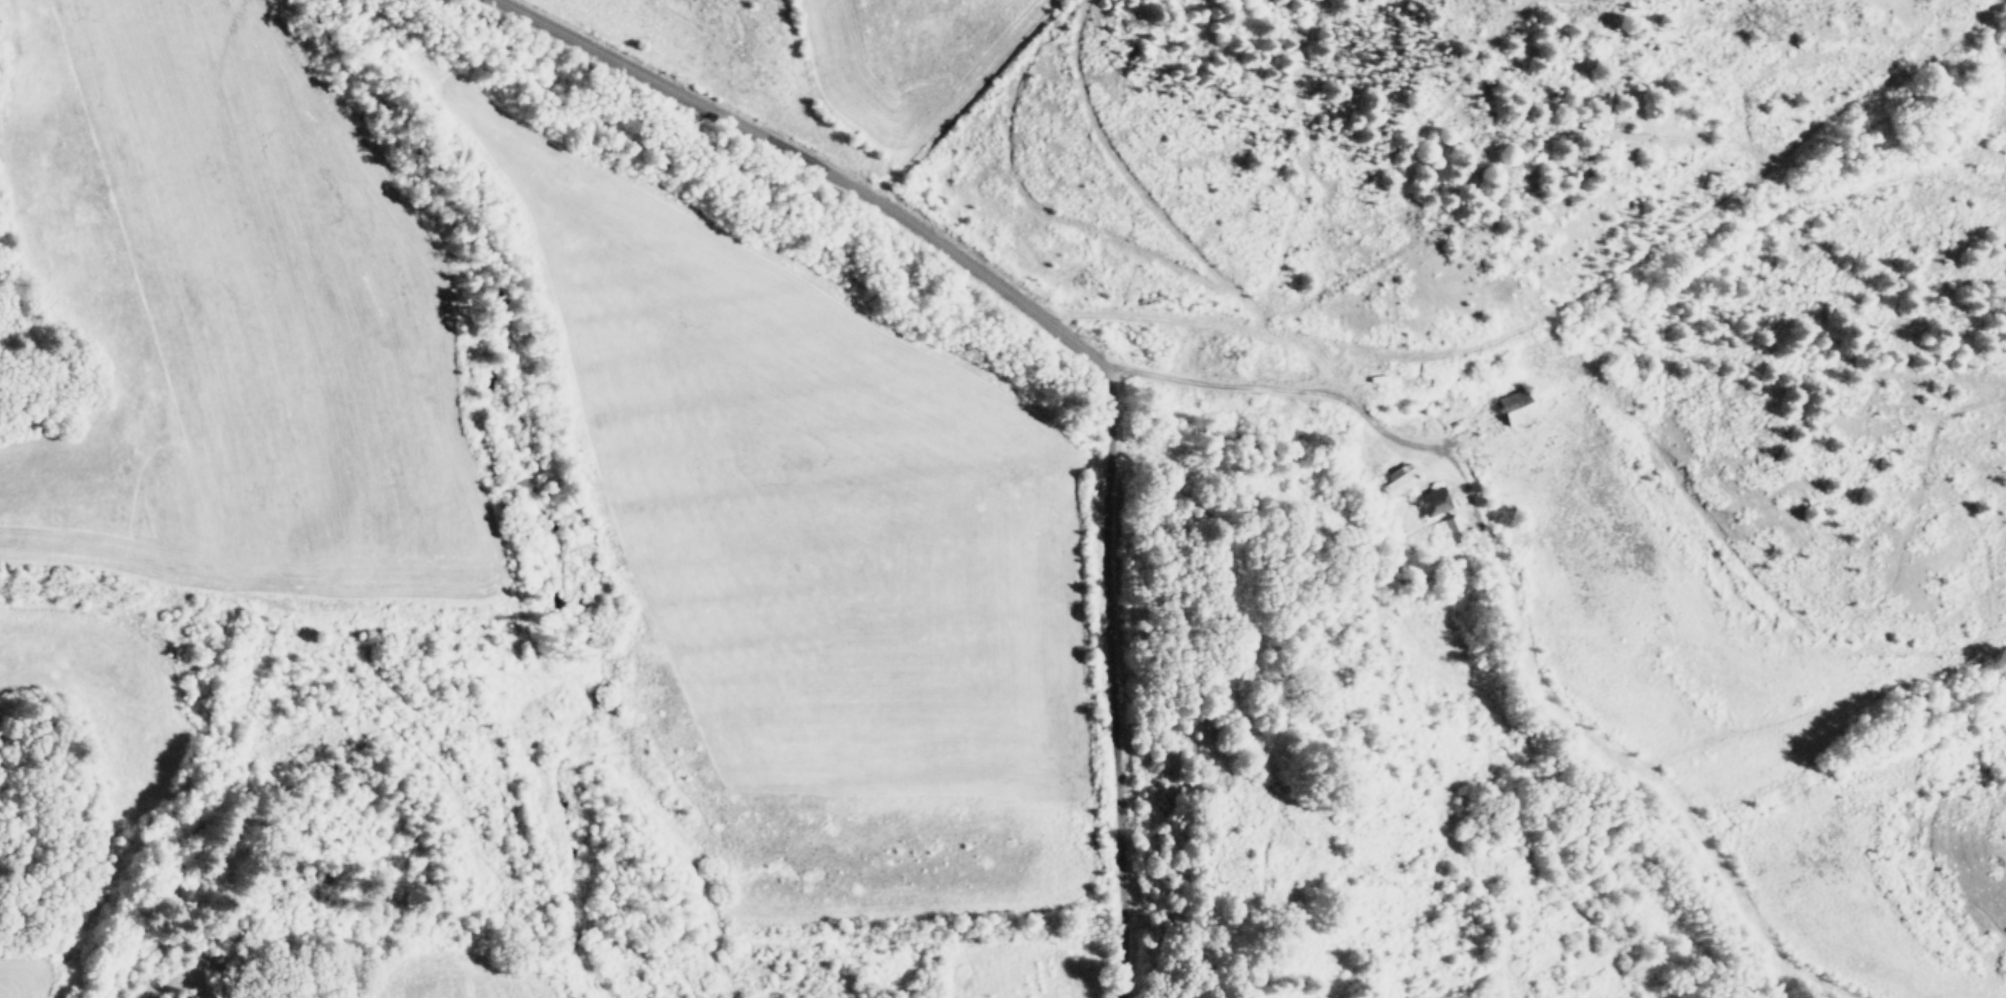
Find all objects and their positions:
road: (810, 164)
building: (1513, 409)
road: (1385, 430)
building: (1399, 481)
building: (1434, 503)
crop: (568, 508)
building: (1454, 529)
road: (1441, 629)
road: (1112, 682)

